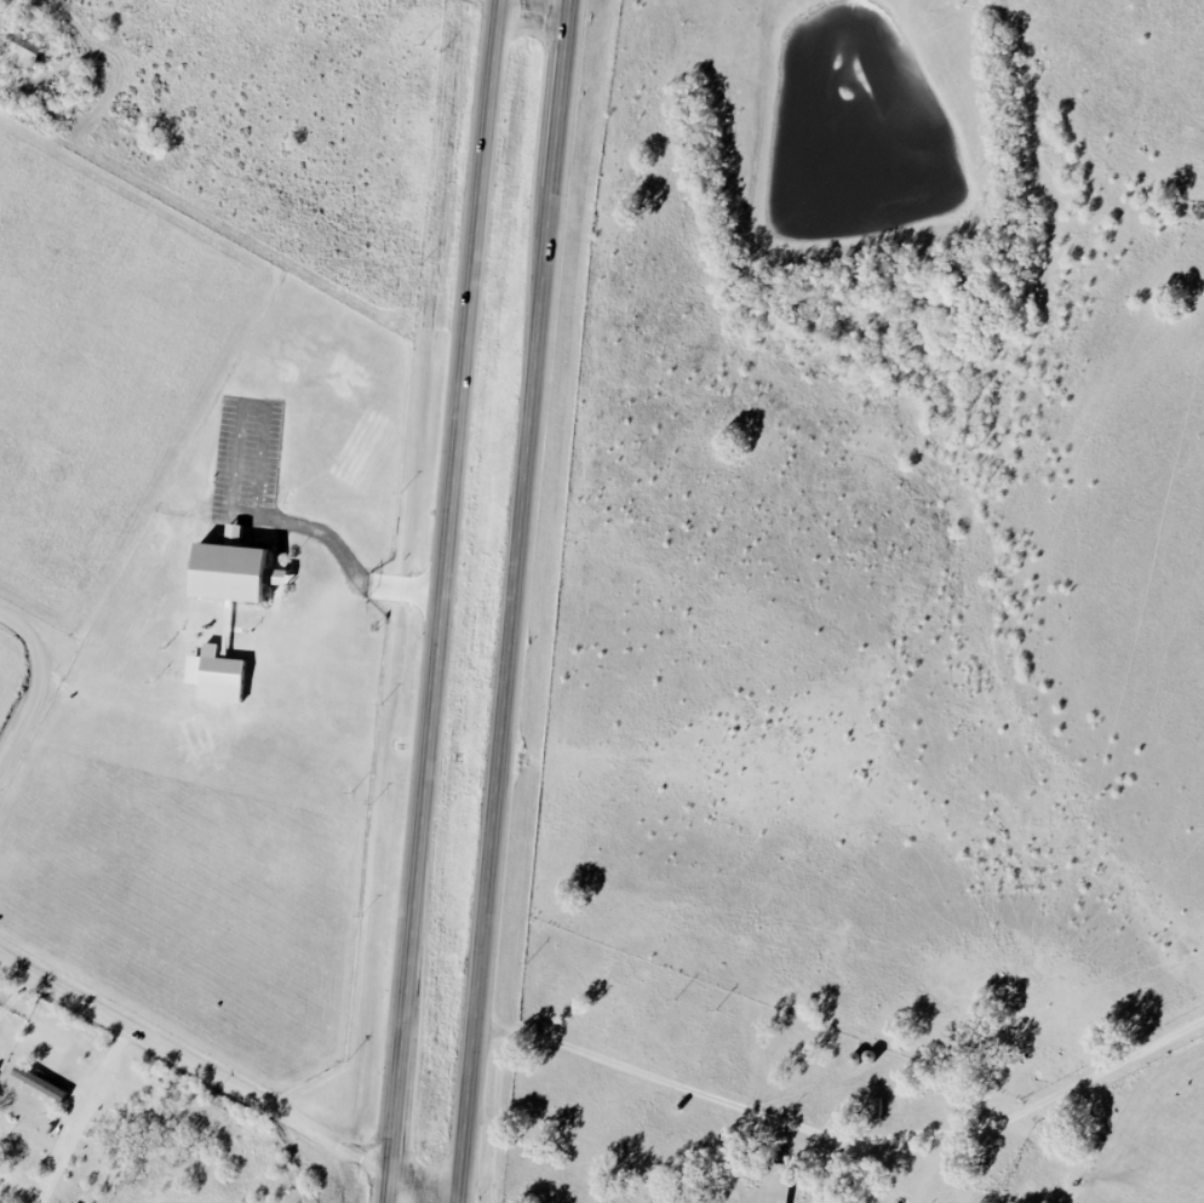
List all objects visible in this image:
road: (535, 10)
building: (24, 51)
road: (344, 557)
building: (231, 569)
road: (443, 601)
road: (514, 601)
road: (11, 672)
building: (214, 675)
road: (635, 1069)
road: (219, 1078)
building: (875, 1109)
road: (78, 1112)

